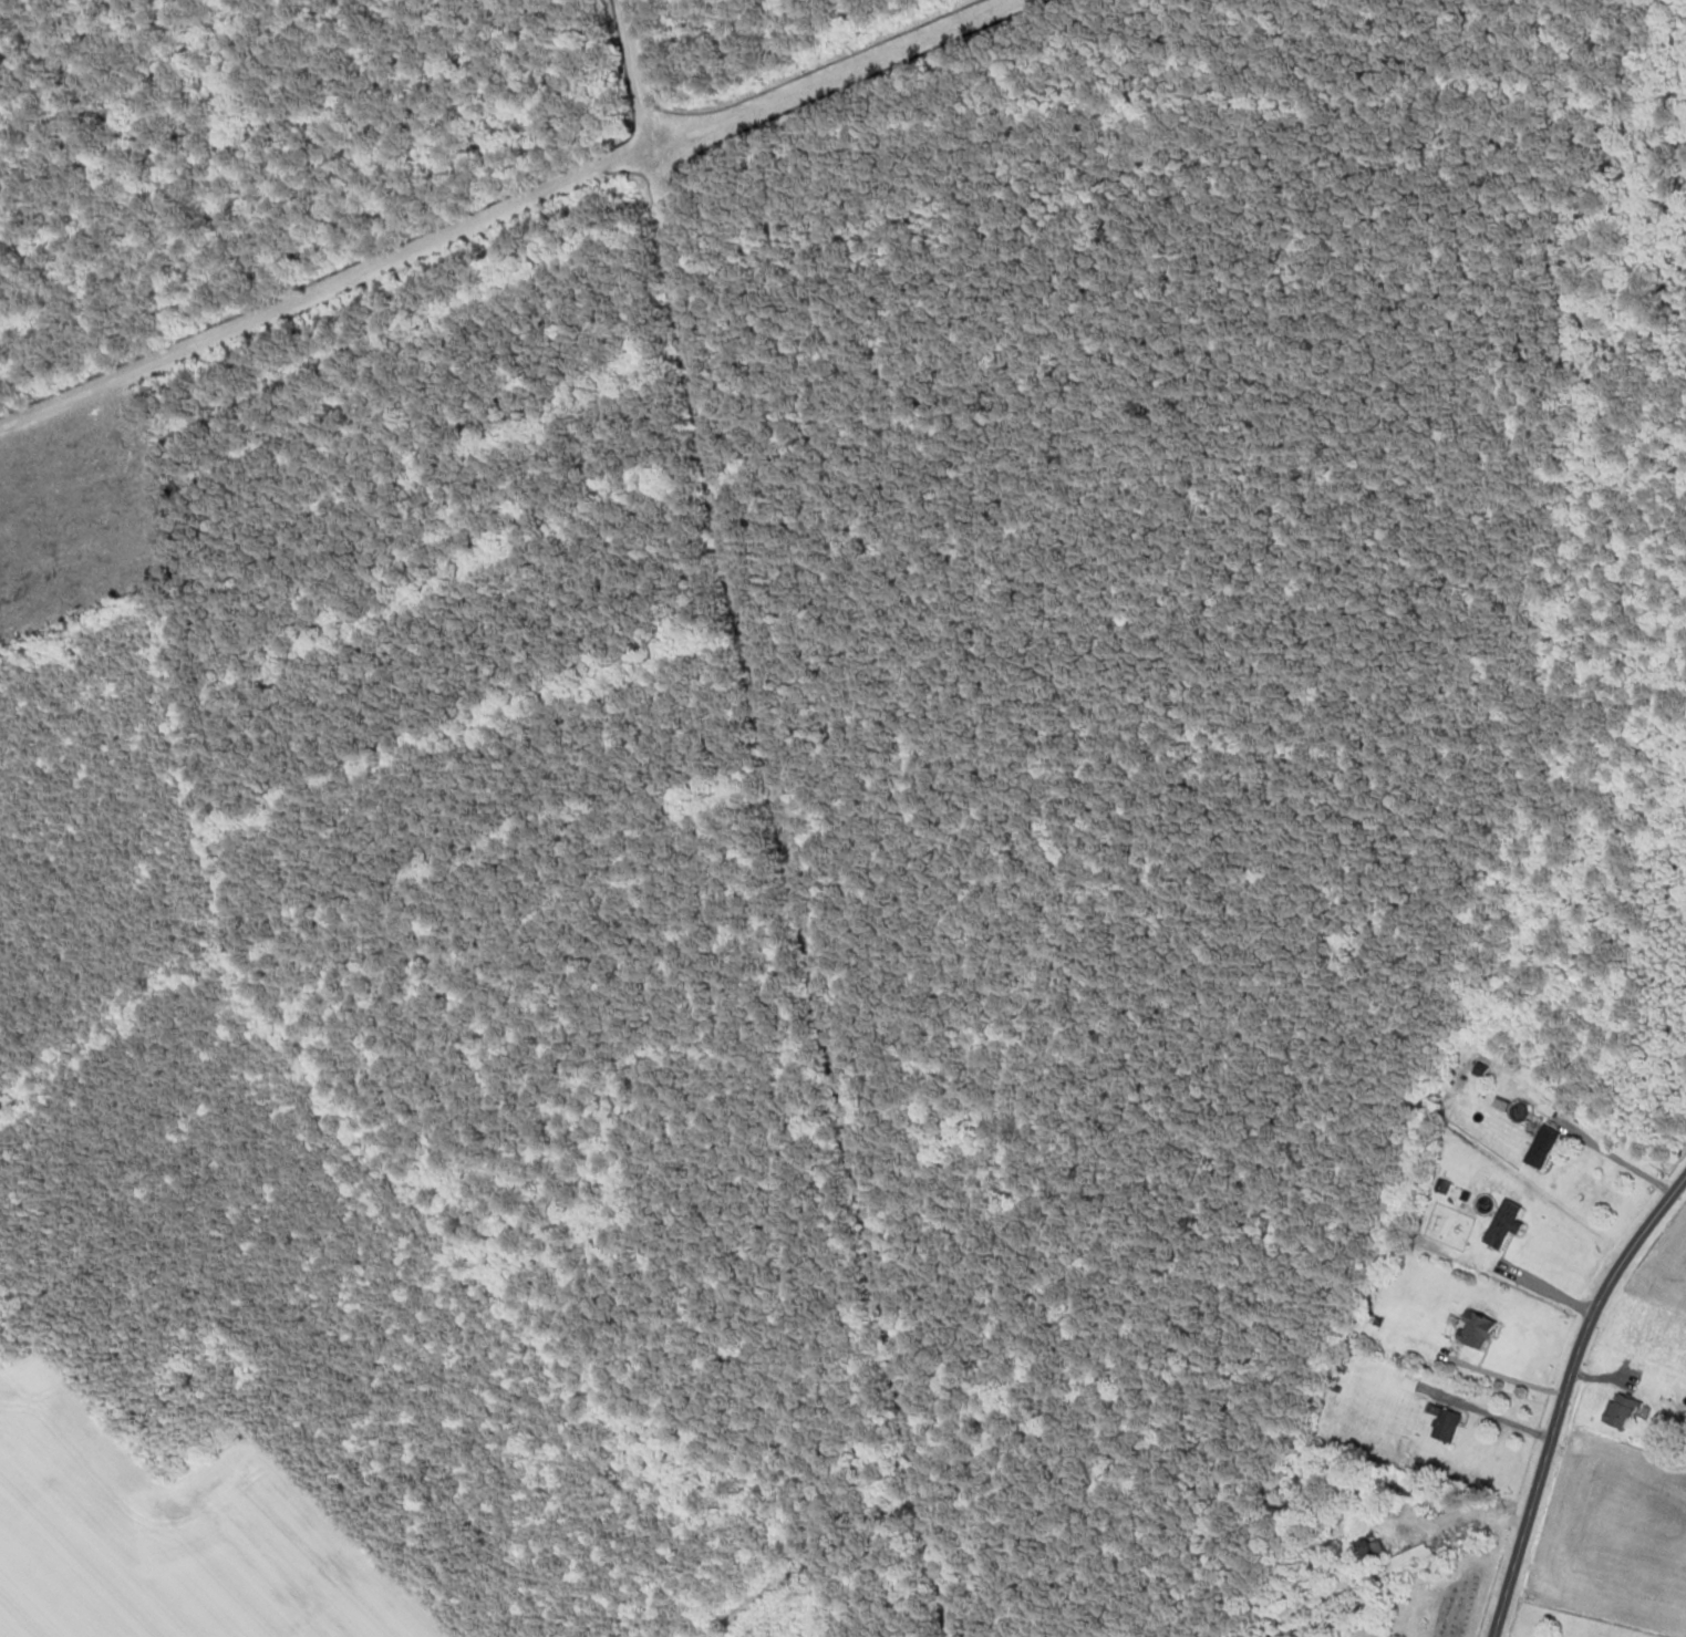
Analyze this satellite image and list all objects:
road: (754, 811)
building: (1540, 1149)
road: (1624, 1163)
building: (1502, 1225)
road: (1552, 1291)
building: (1473, 1332)
road: (1513, 1380)
road: (1564, 1397)
building: (1620, 1413)
road: (1502, 1420)
building: (1444, 1428)
building: (1456, 1544)

